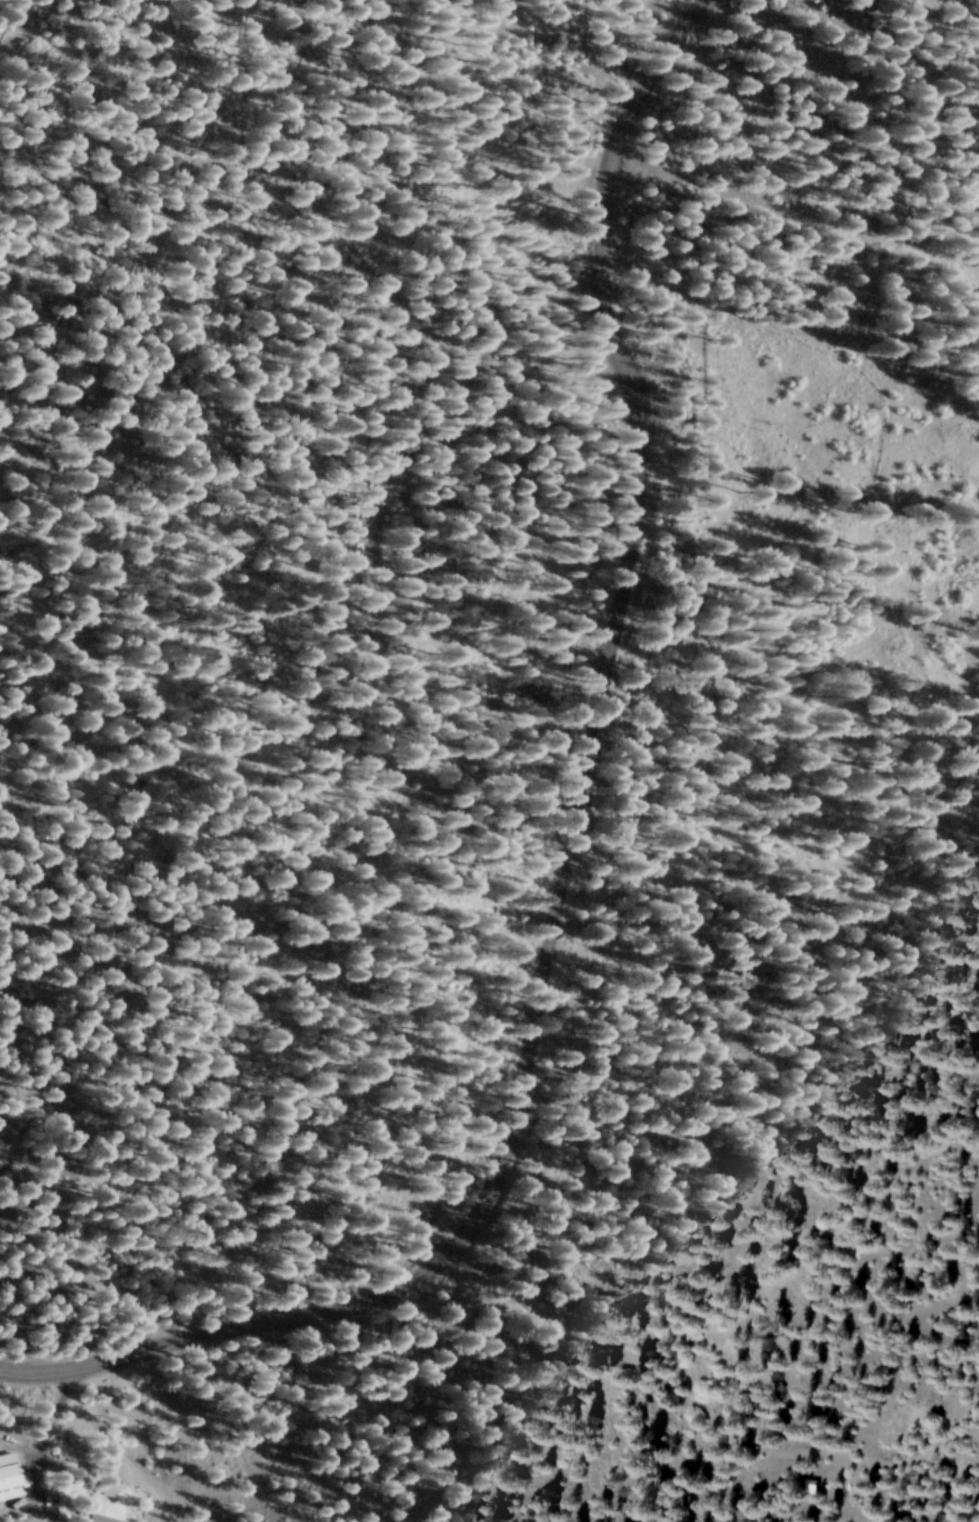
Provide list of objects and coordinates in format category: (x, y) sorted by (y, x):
road: (158, 110)
road: (624, 382)
road: (449, 1240)
building: (10, 1477)
building: (96, 1518)

